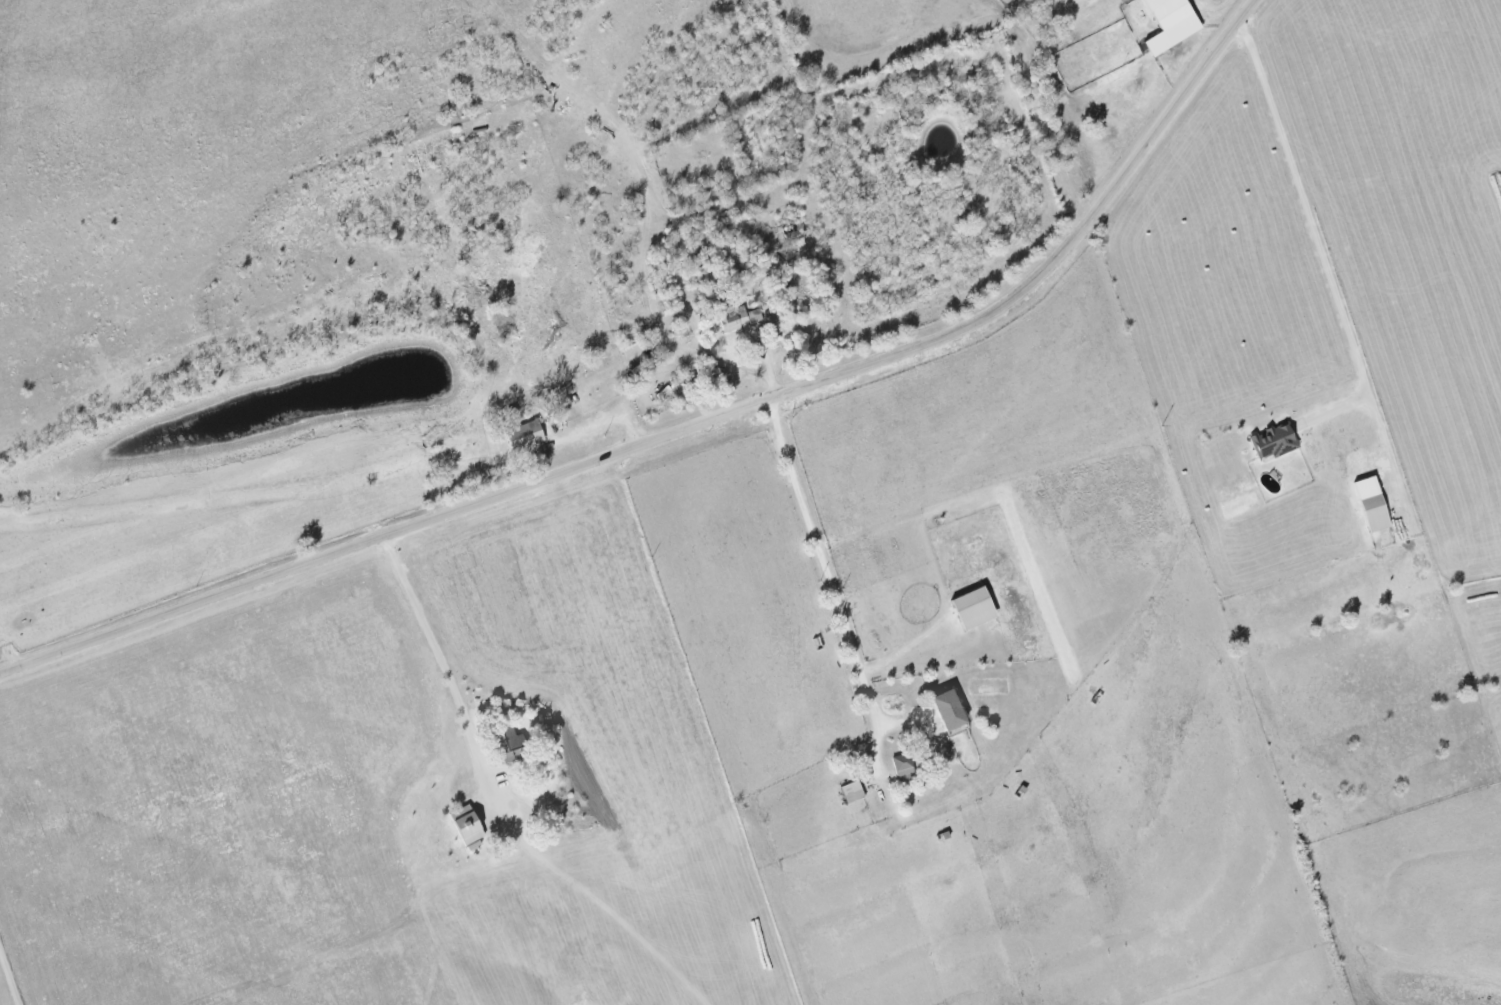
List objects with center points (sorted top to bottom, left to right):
building: (1171, 23)
road: (1313, 236)
building: (737, 315)
building: (773, 317)
road: (691, 426)
building: (525, 435)
building: (1274, 441)
building: (1373, 504)
road: (820, 552)
building: (974, 608)
road: (441, 663)
building: (950, 711)
building: (509, 745)
building: (903, 766)
building: (467, 824)
road: (7, 982)

